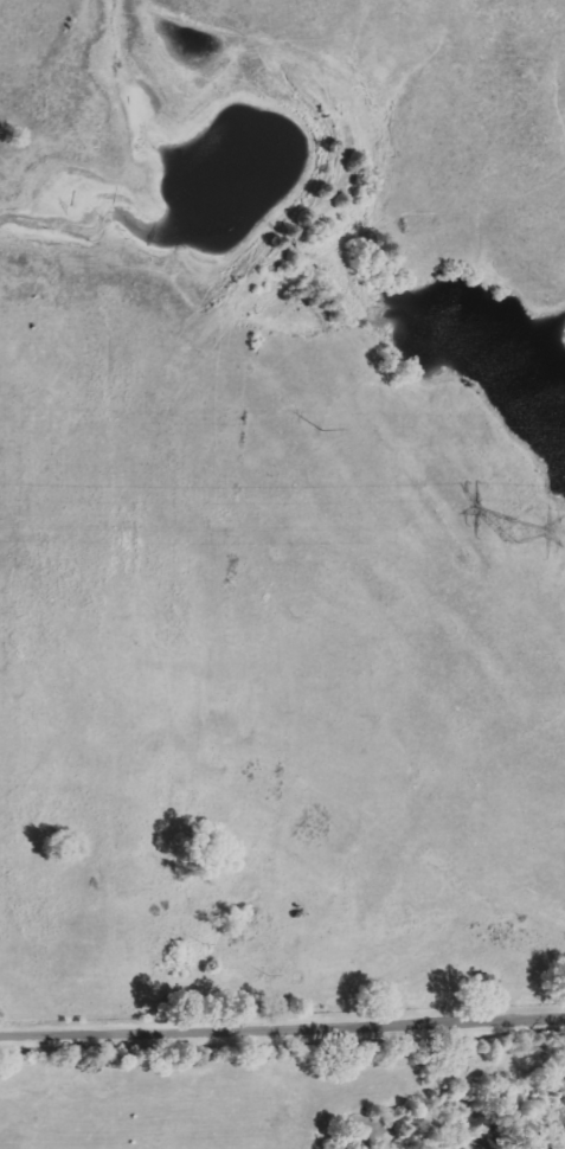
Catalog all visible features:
power tower: (516, 531)
road: (282, 1057)

